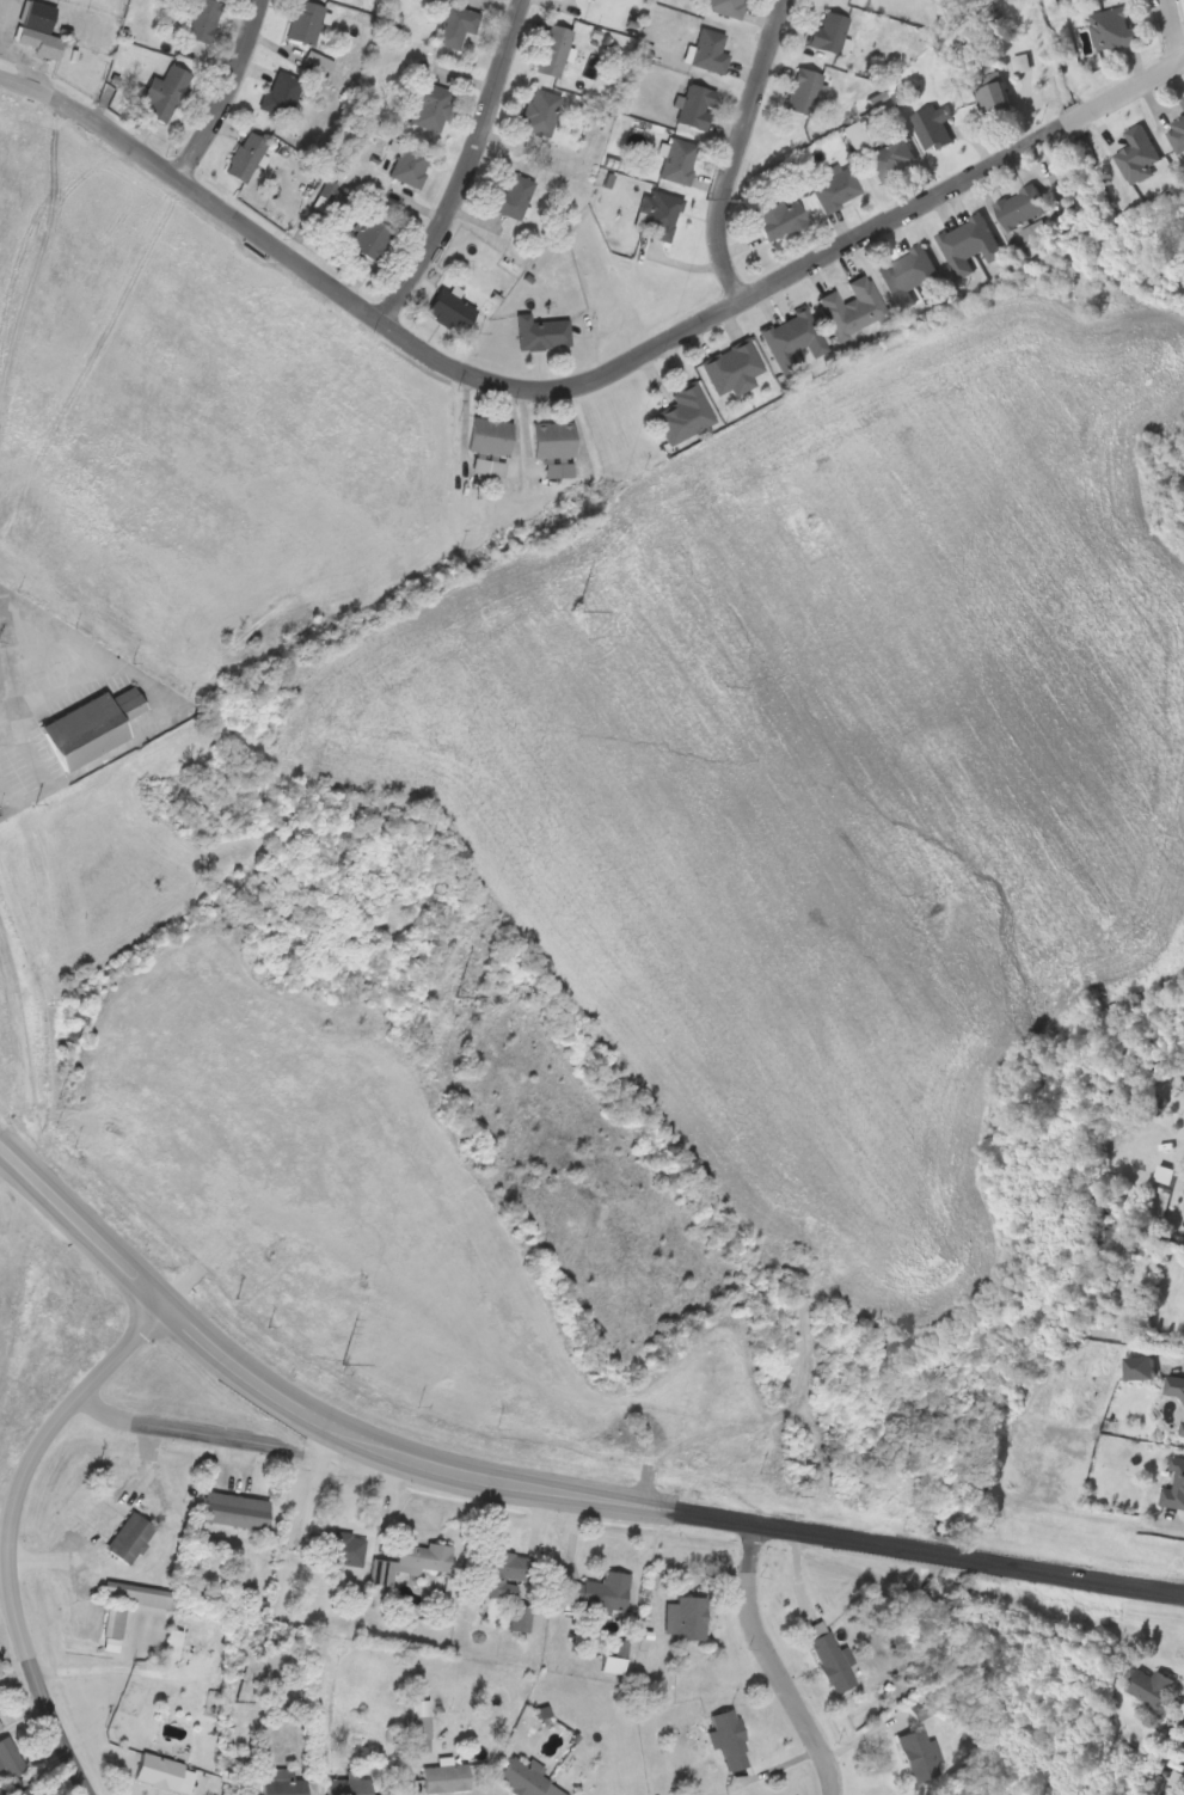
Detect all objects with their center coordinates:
building: (725, 6)
building: (203, 20)
building: (306, 22)
building: (458, 25)
building: (1112, 27)
building: (38, 29)
road: (1172, 30)
building: (828, 32)
building: (554, 50)
building: (710, 50)
road: (227, 90)
building: (804, 91)
building: (165, 93)
building: (282, 93)
building: (992, 96)
building: (1182, 102)
building: (431, 105)
building: (697, 106)
building: (540, 111)
building: (932, 125)
building: (1177, 134)
road: (737, 149)
building: (246, 155)
building: (892, 159)
building: (679, 161)
building: (410, 165)
road: (466, 166)
building: (836, 189)
building: (513, 196)
building: (1020, 206)
building: (660, 213)
building: (779, 219)
building: (369, 237)
building: (968, 244)
building: (910, 272)
building: (852, 307)
building: (450, 311)
building: (541, 332)
building: (792, 338)
building: (734, 368)
road: (587, 381)
building: (686, 413)
building: (552, 440)
building: (490, 445)
building: (91, 727)
road: (80, 1224)
building: (1173, 1385)
building: (1182, 1426)
road: (177, 1432)
building: (1173, 1485)
road: (650, 1506)
building: (233, 1509)
road: (6, 1531)
building: (129, 1537)
building: (348, 1551)
building: (411, 1561)
building: (503, 1570)
building: (596, 1592)
building: (691, 1618)
building: (112, 1629)
building: (173, 1643)
building: (829, 1656)
road: (778, 1662)
building: (1148, 1685)
building: (1, 1724)
building: (421, 1724)
building: (730, 1739)
building: (919, 1754)
building: (164, 1771)
building: (446, 1778)
building: (526, 1778)
building: (281, 1782)
building: (355, 1783)
building: (29, 1789)
building: (1170, 1790)

